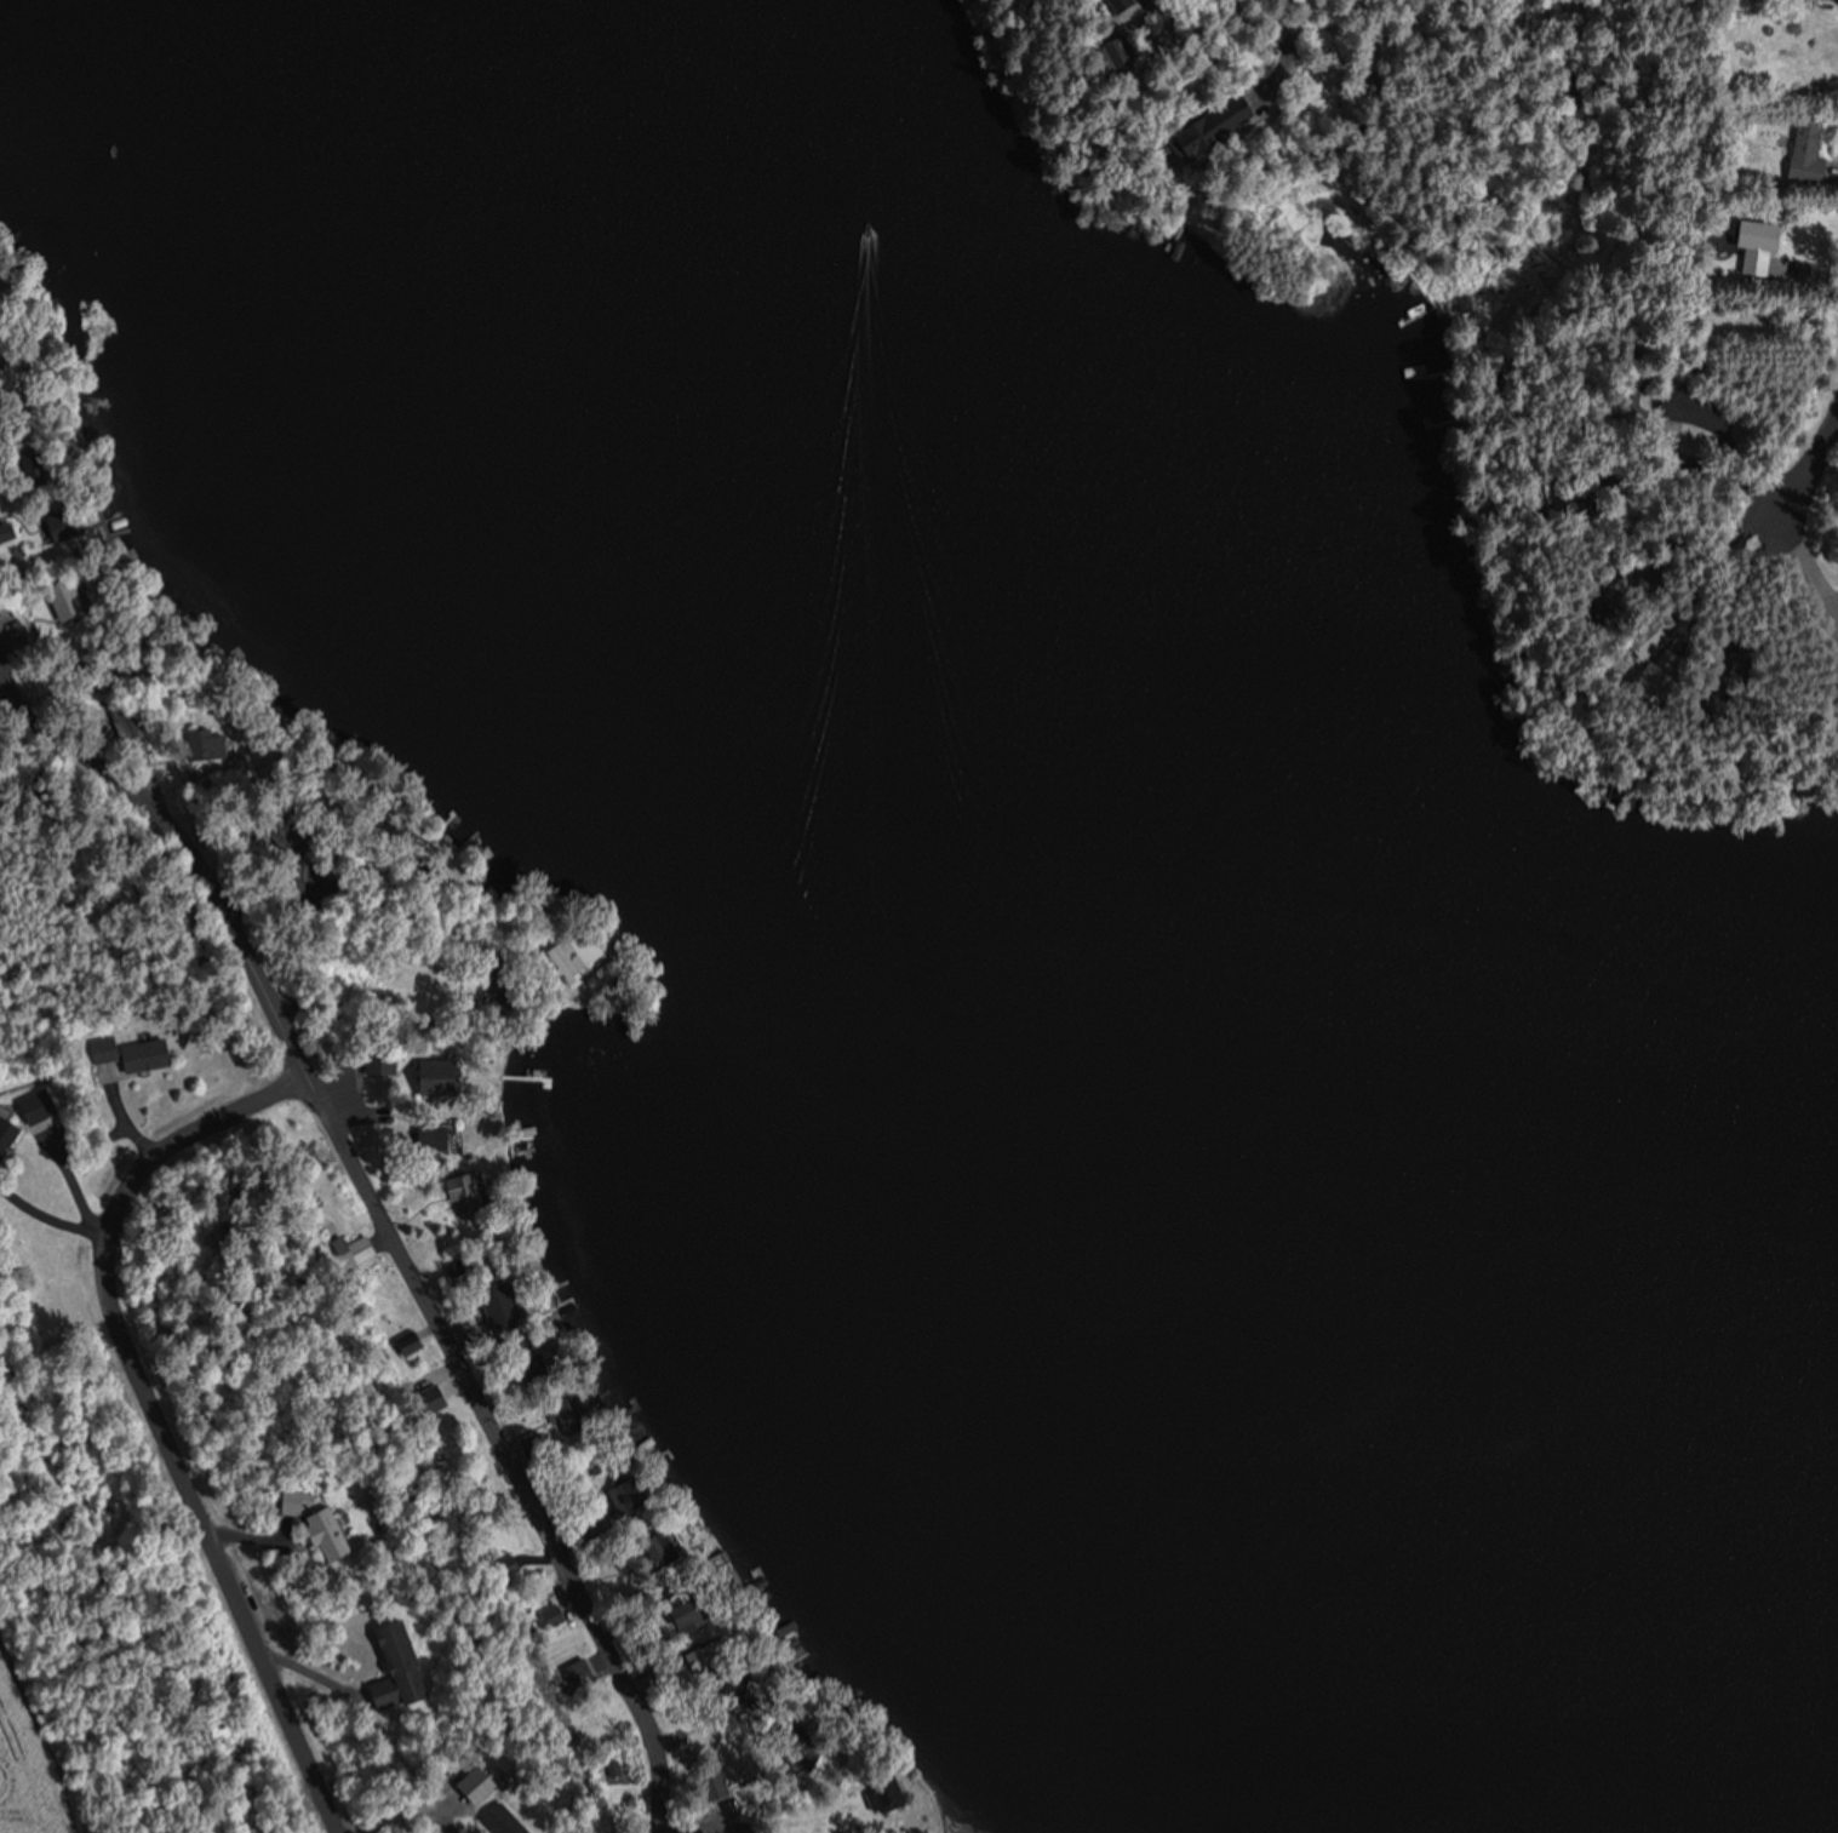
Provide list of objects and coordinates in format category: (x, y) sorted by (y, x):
building: (1834, 0)
building: (1198, 128)
building: (1803, 148)
road: (2, 233)
building: (1750, 246)
building: (1682, 406)
road: (1814, 460)
road: (1, 668)
road: (1, 672)
building: (282, 881)
building: (151, 1053)
building: (40, 1106)
building: (457, 1192)
road: (377, 1209)
building: (357, 1249)
building: (403, 1342)
road: (153, 1415)
building: (624, 1495)
building: (285, 1500)
building: (322, 1533)
building: (654, 1548)
building: (549, 1615)
building: (388, 1666)
building: (794, 1741)
crop: (23, 1771)
building: (877, 1793)
building: (500, 1820)

